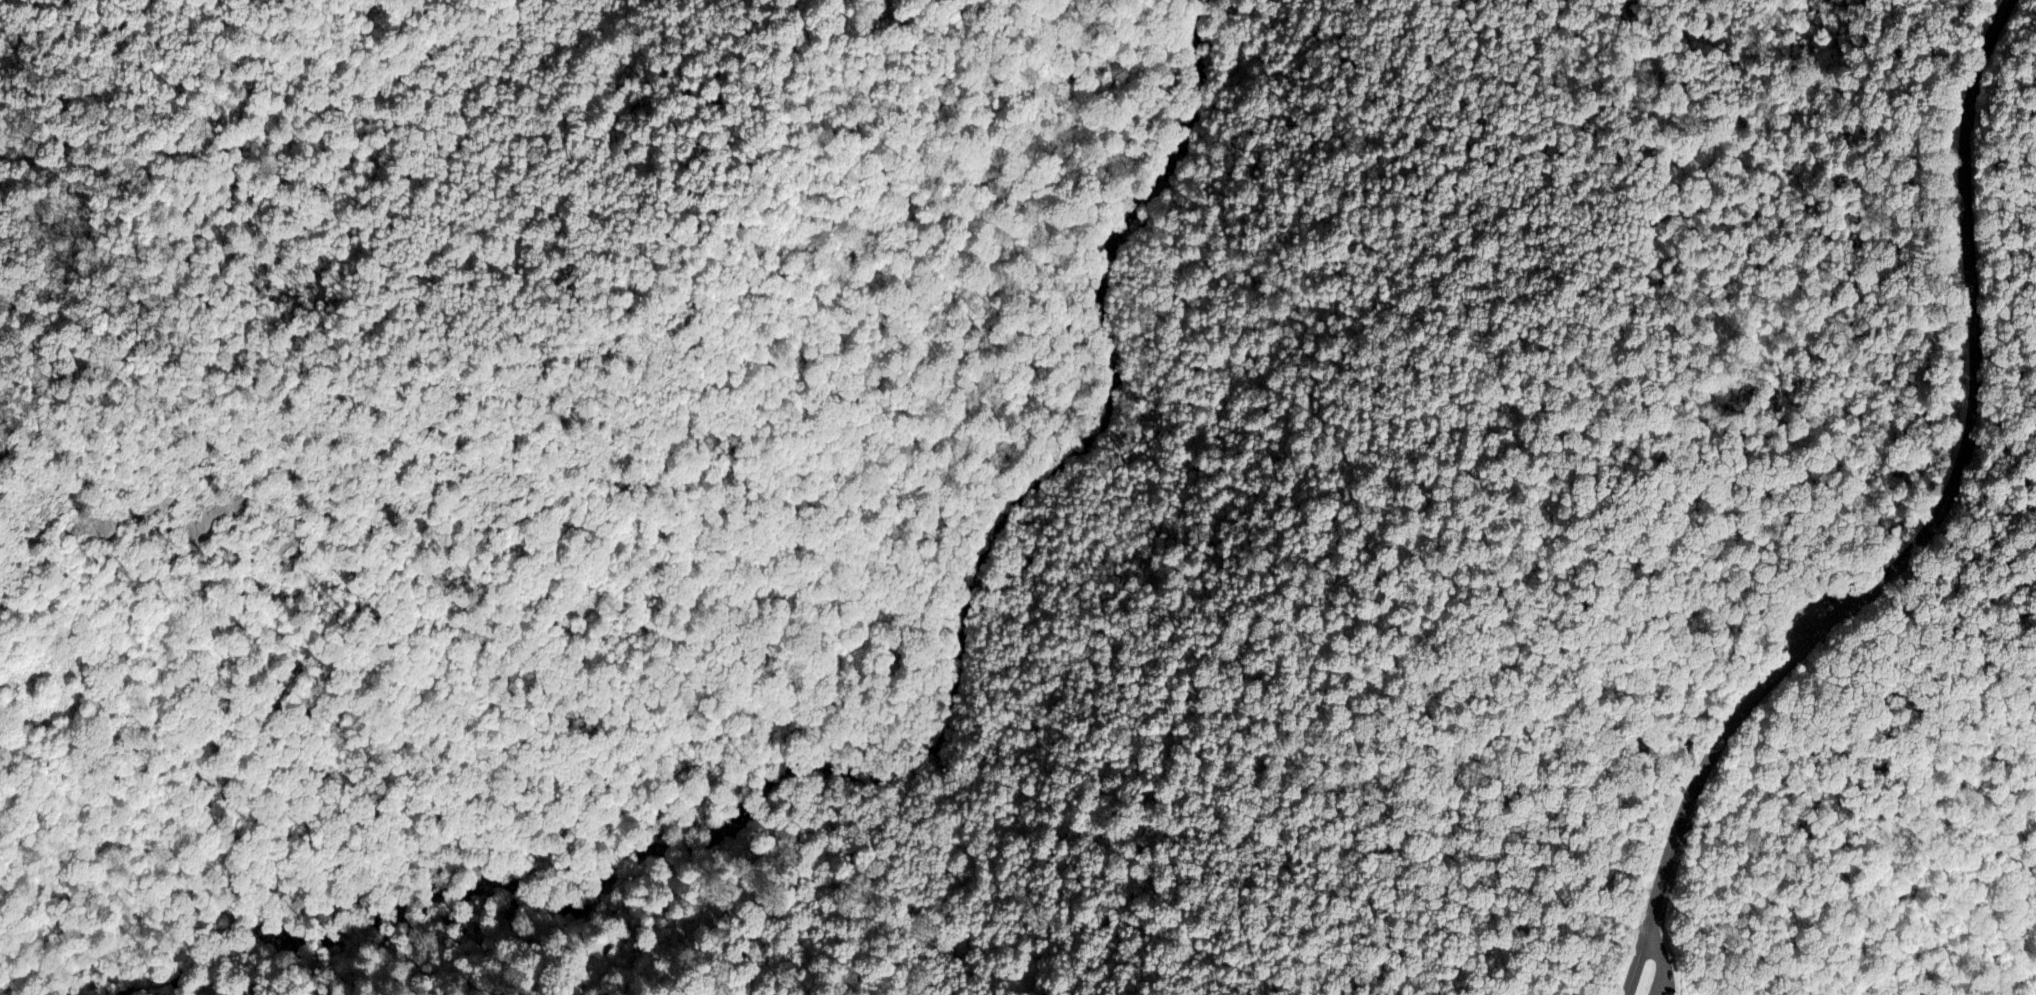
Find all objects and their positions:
road: (1845, 176)
road: (1548, 335)
road: (1975, 349)
road: (938, 524)
road: (1731, 666)
road: (1687, 803)
road: (1540, 830)
road: (608, 872)
road: (505, 876)
road: (750, 952)
road: (1661, 962)
parking lot: (1660, 967)

